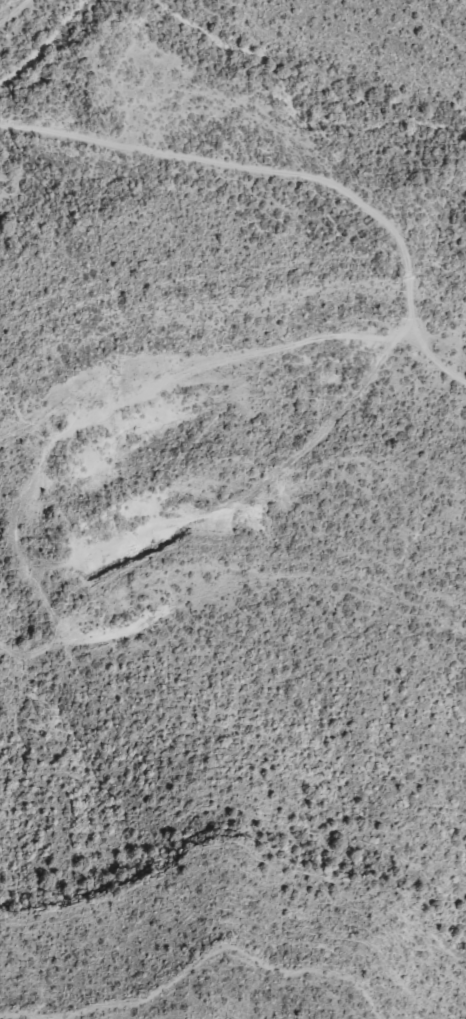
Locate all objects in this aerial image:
road: (16, 15)

